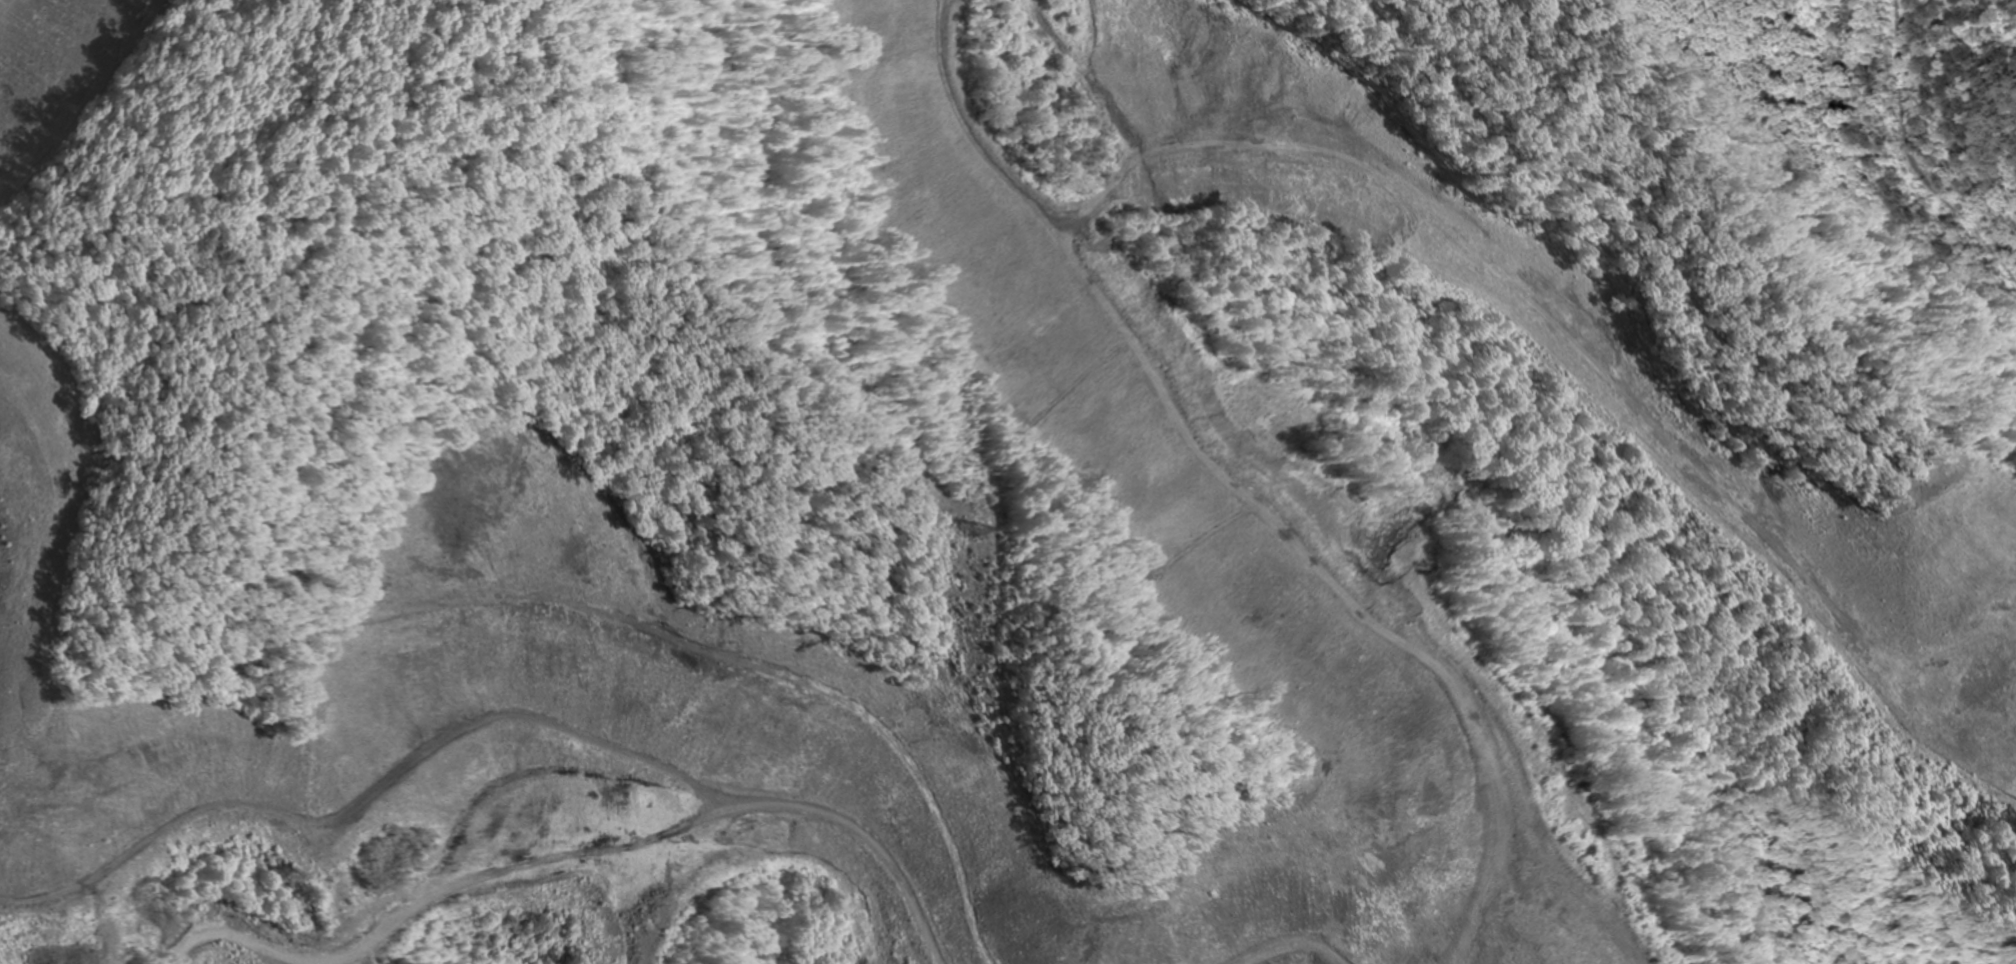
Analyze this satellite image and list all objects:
road: (1691, 960)

